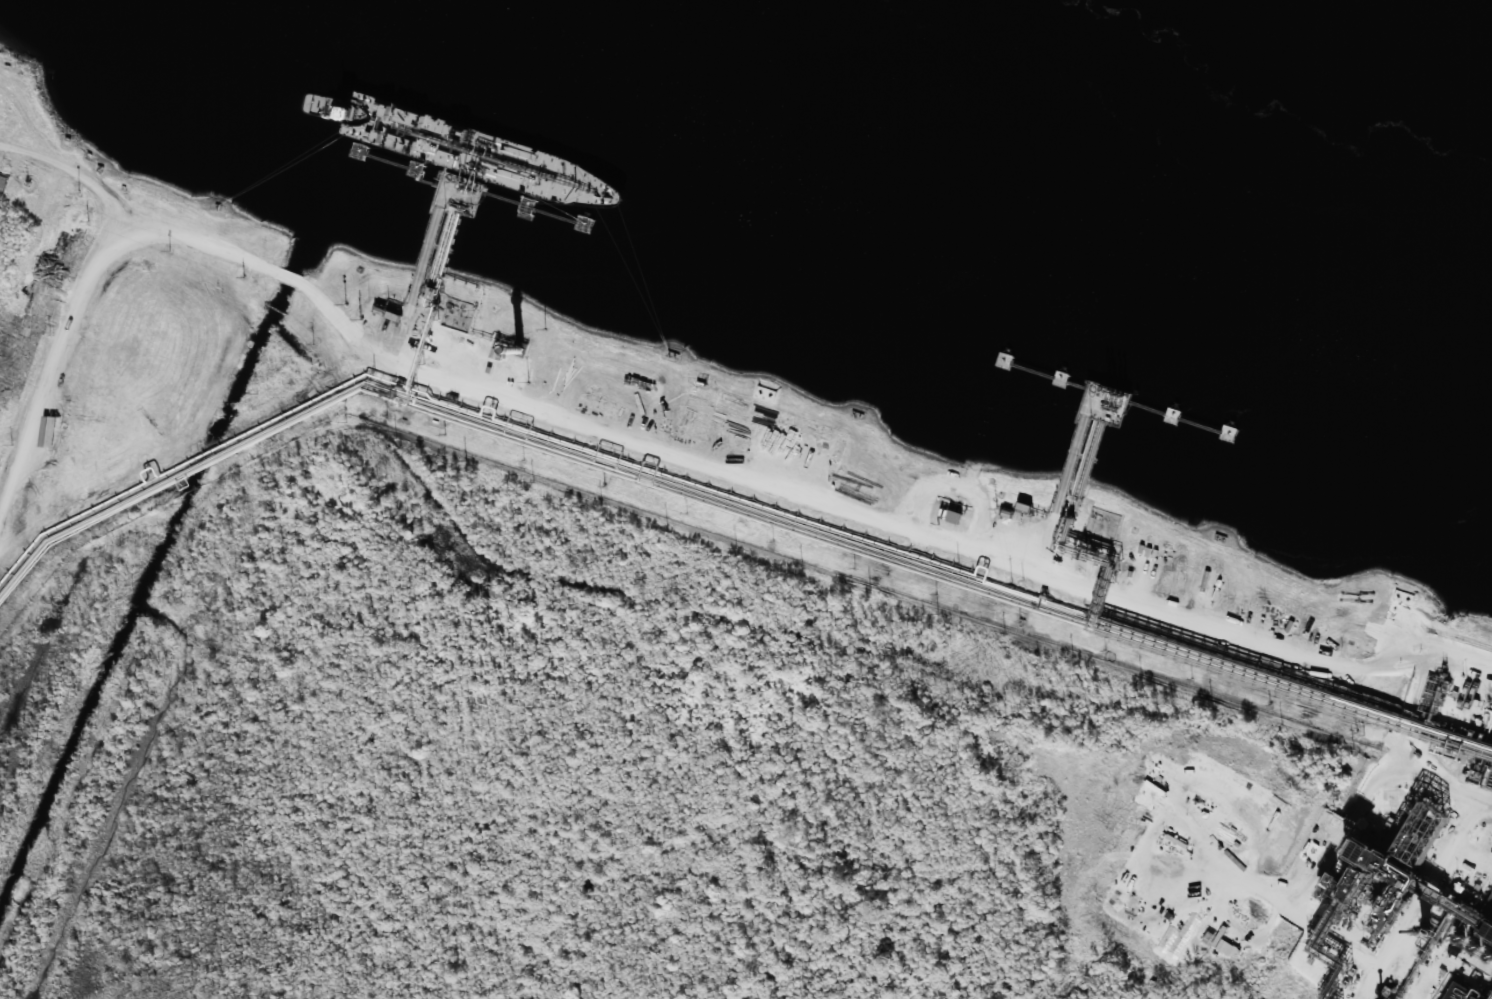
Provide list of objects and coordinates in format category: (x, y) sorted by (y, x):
river: (1105, 128)
road: (80, 172)
road: (415, 316)
road: (662, 409)
road: (637, 451)
road: (844, 473)
building: (953, 517)
road: (1060, 530)
road: (1211, 591)
building: (1461, 992)

